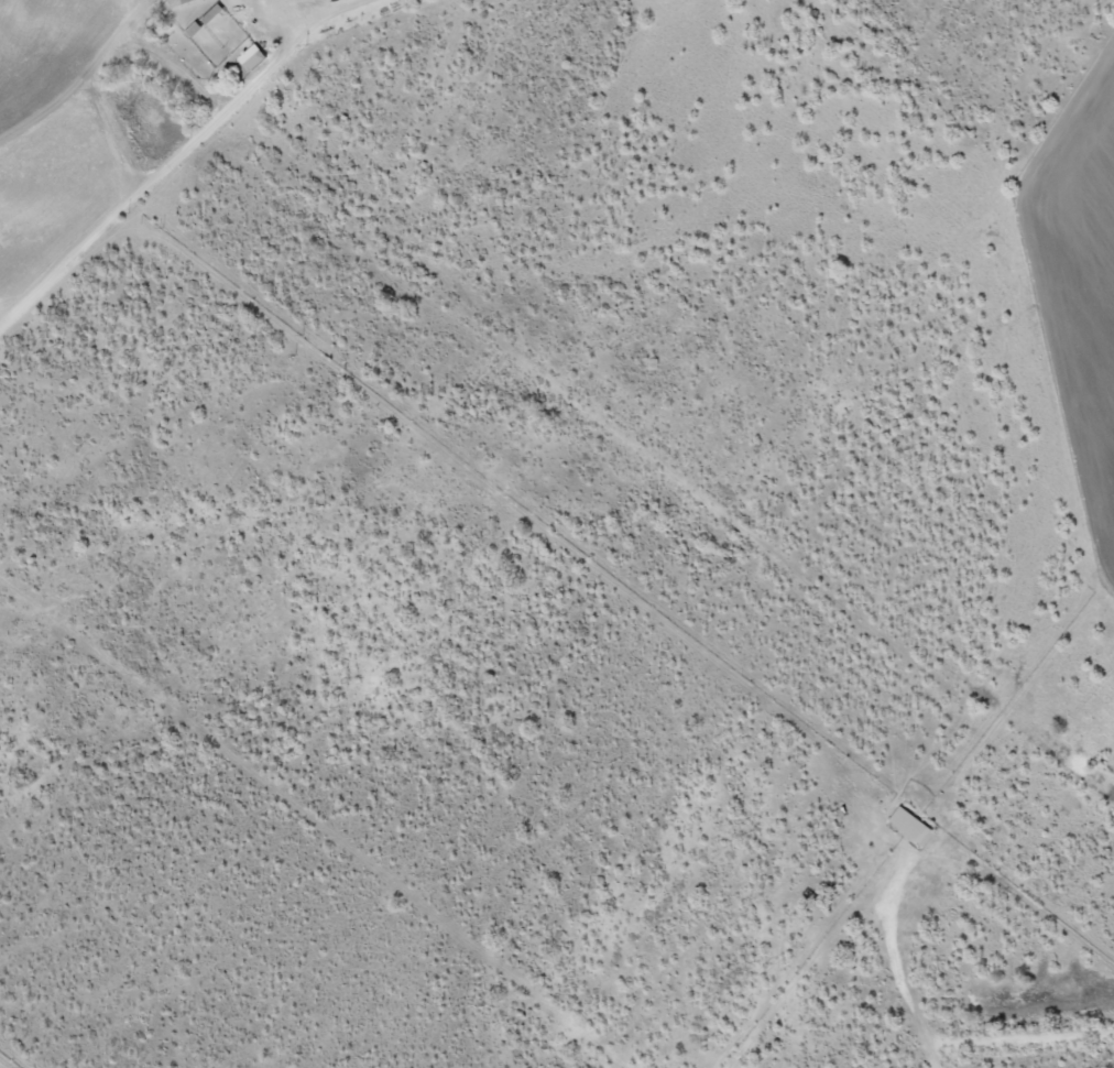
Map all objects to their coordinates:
building: (178, 3)
building: (251, 58)
road: (587, 408)
road: (533, 808)
building: (911, 827)
railway: (8, 1061)

